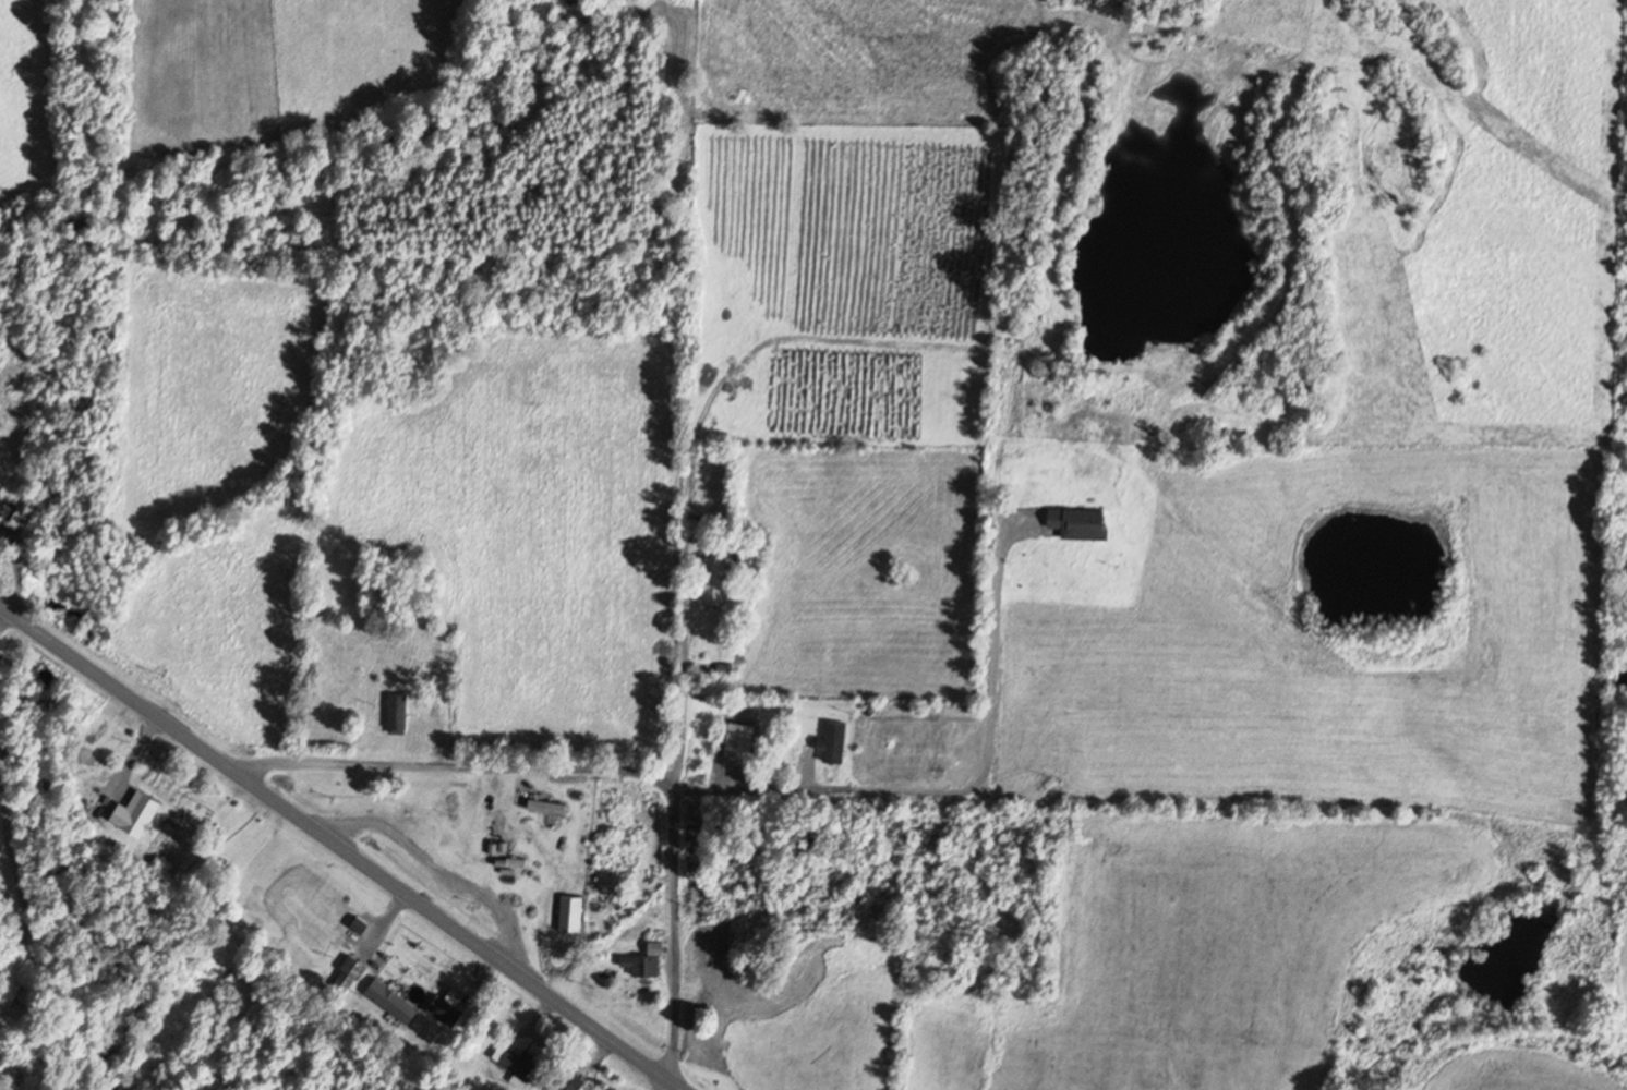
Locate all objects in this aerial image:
road: (714, 344)
building: (8, 510)
building: (1084, 522)
building: (721, 581)
road: (670, 667)
building: (401, 713)
building: (744, 740)
building: (837, 742)
road: (598, 770)
road: (962, 794)
building: (89, 797)
building: (447, 800)
building: (552, 809)
building: (124, 825)
road: (341, 847)
building: (575, 913)
building: (647, 961)
building: (352, 973)
building: (397, 1001)
building: (517, 1064)
building: (573, 1081)
road: (675, 1088)

